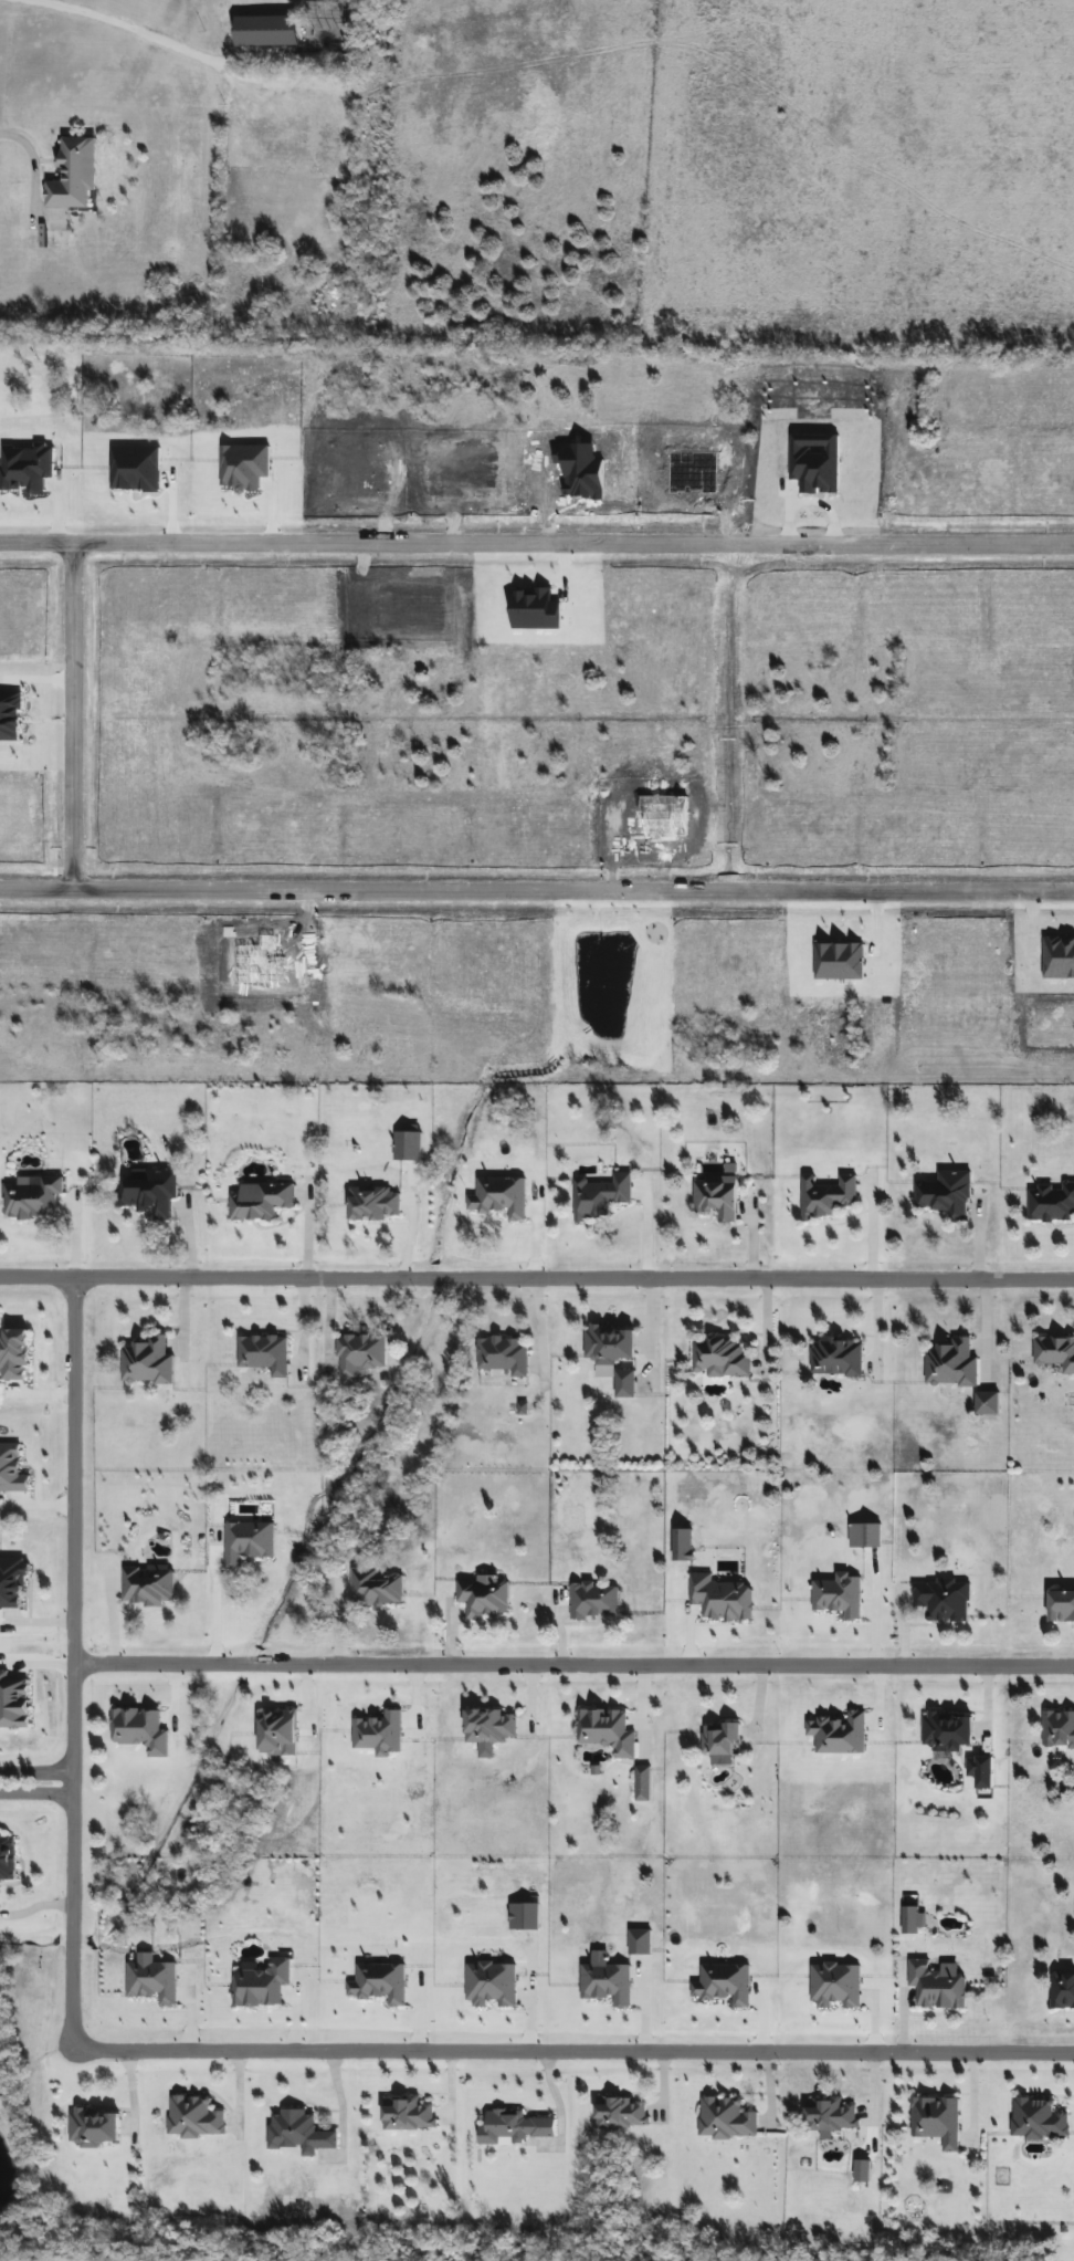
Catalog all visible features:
road: (128, 30)
road: (29, 165)
building: (72, 174)
road: (537, 552)
road: (71, 723)
road: (537, 898)
building: (150, 1192)
building: (946, 1194)
building: (602, 1195)
building: (828, 1195)
building: (715, 1196)
building: (33, 1197)
building: (259, 1200)
building: (1051, 1202)
road: (872, 1225)
road: (536, 1277)
road: (303, 1328)
road: (329, 1328)
road: (878, 1331)
road: (539, 1332)
road: (653, 1333)
building: (609, 1342)
building: (358, 1352)
building: (1054, 1352)
building: (262, 1353)
building: (502, 1354)
building: (718, 1355)
building: (834, 1358)
building: (146, 1362)
building: (949, 1364)
building: (623, 1384)
building: (13, 1581)
building: (146, 1585)
building: (375, 1587)
road: (213, 1595)
building: (482, 1597)
building: (940, 1599)
building: (592, 1600)
building: (1060, 1605)
road: (77, 1660)
road: (576, 1663)
building: (1057, 1727)
building: (607, 1729)
building: (945, 1729)
building: (720, 1739)
building: (978, 1769)
road: (39, 1782)
building: (7, 1855)
road: (36, 1903)
building: (935, 1986)
building: (1062, 1990)
road: (575, 2043)
building: (619, 2111)
building: (407, 2113)
building: (828, 2113)
building: (192, 2116)
building: (724, 2117)
building: (1035, 2117)
building: (937, 2119)
building: (94, 2125)
building: (514, 2126)
building: (296, 2132)

